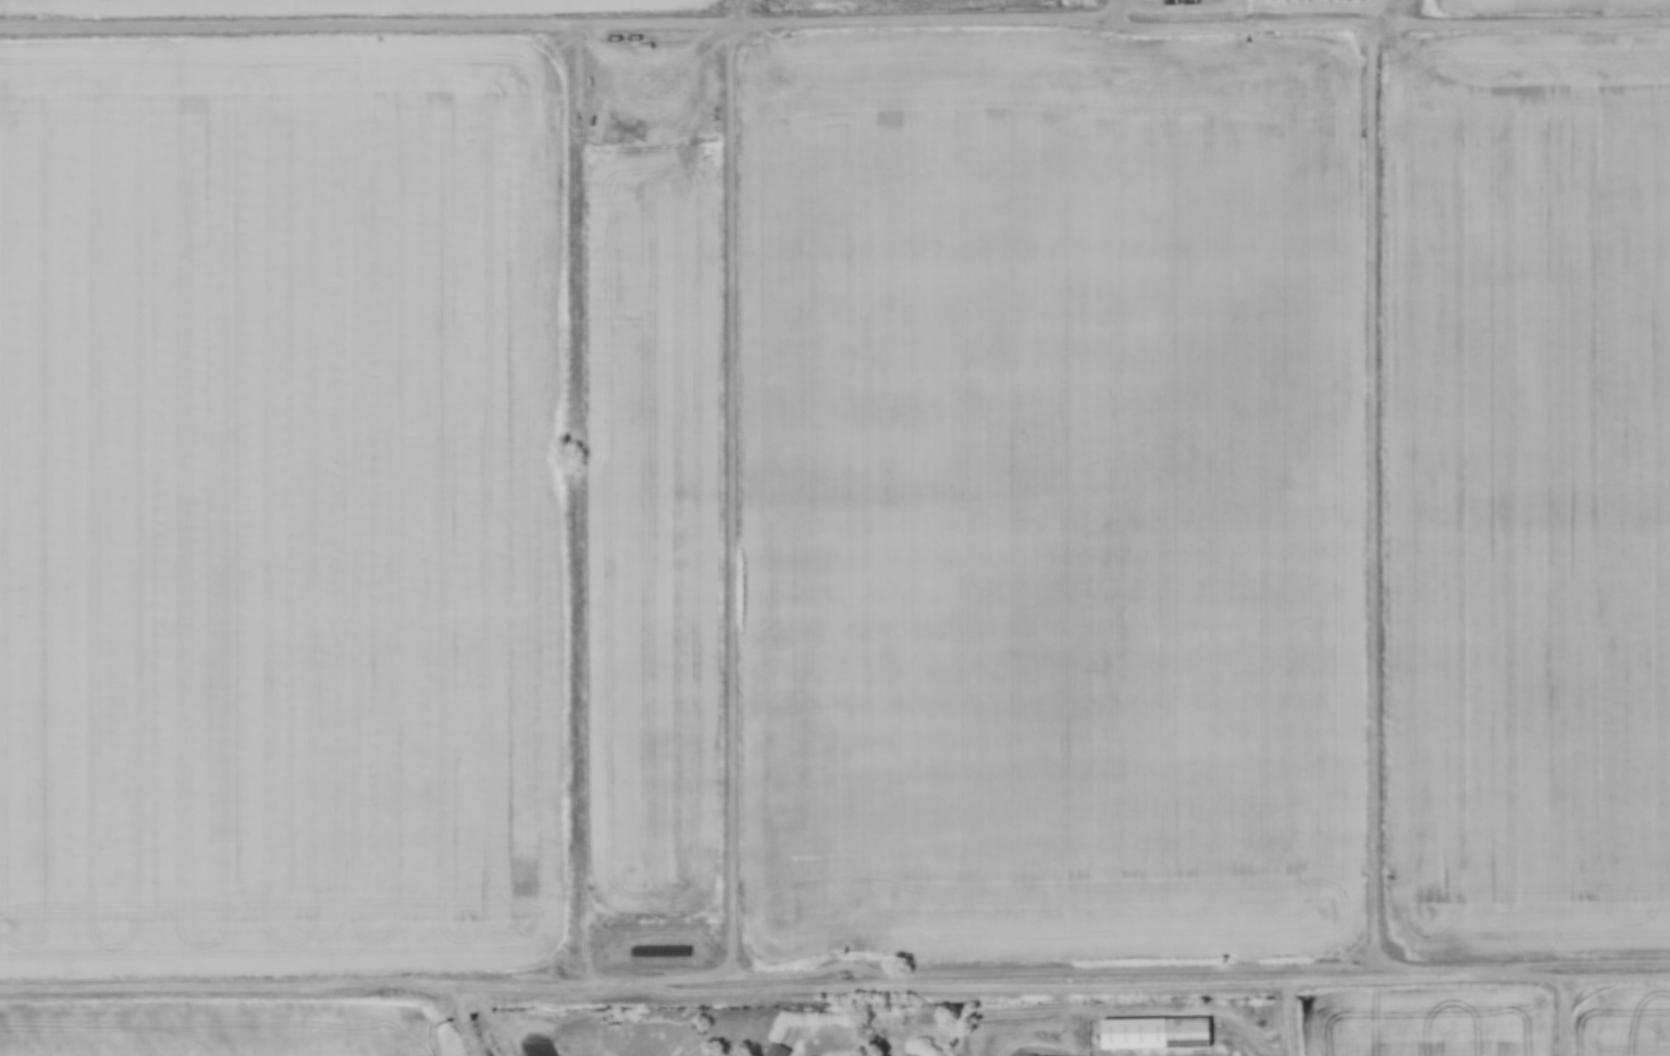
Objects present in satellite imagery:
building: (1153, 1033)
building: (779, 1044)
airport taxiway: (569, 1049)
airport runway: (535, 1051)

